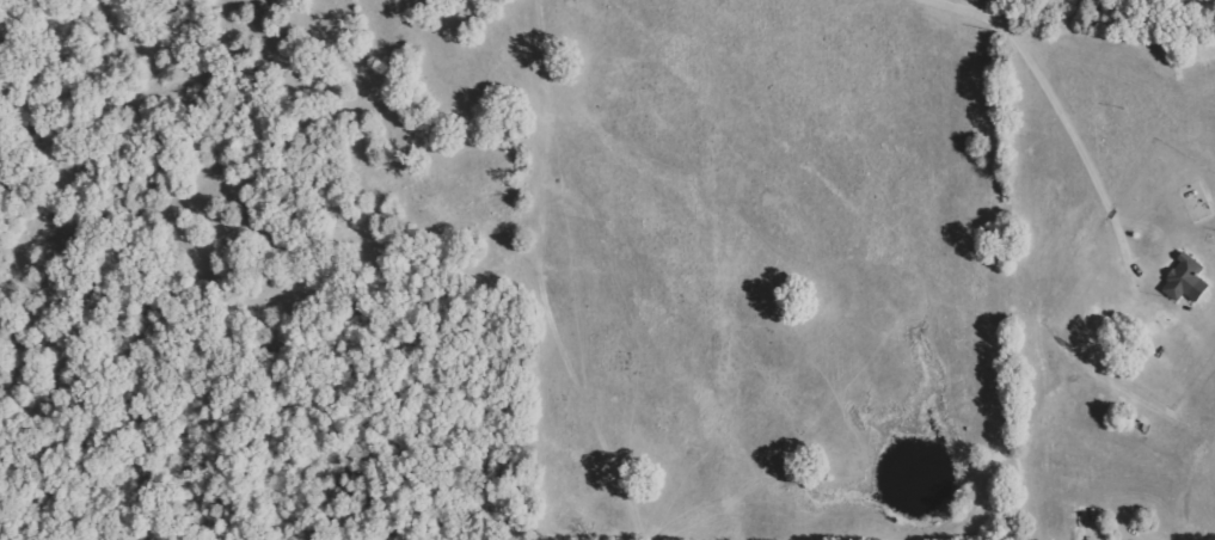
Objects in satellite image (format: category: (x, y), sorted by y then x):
road: (1060, 112)
building: (1184, 280)

